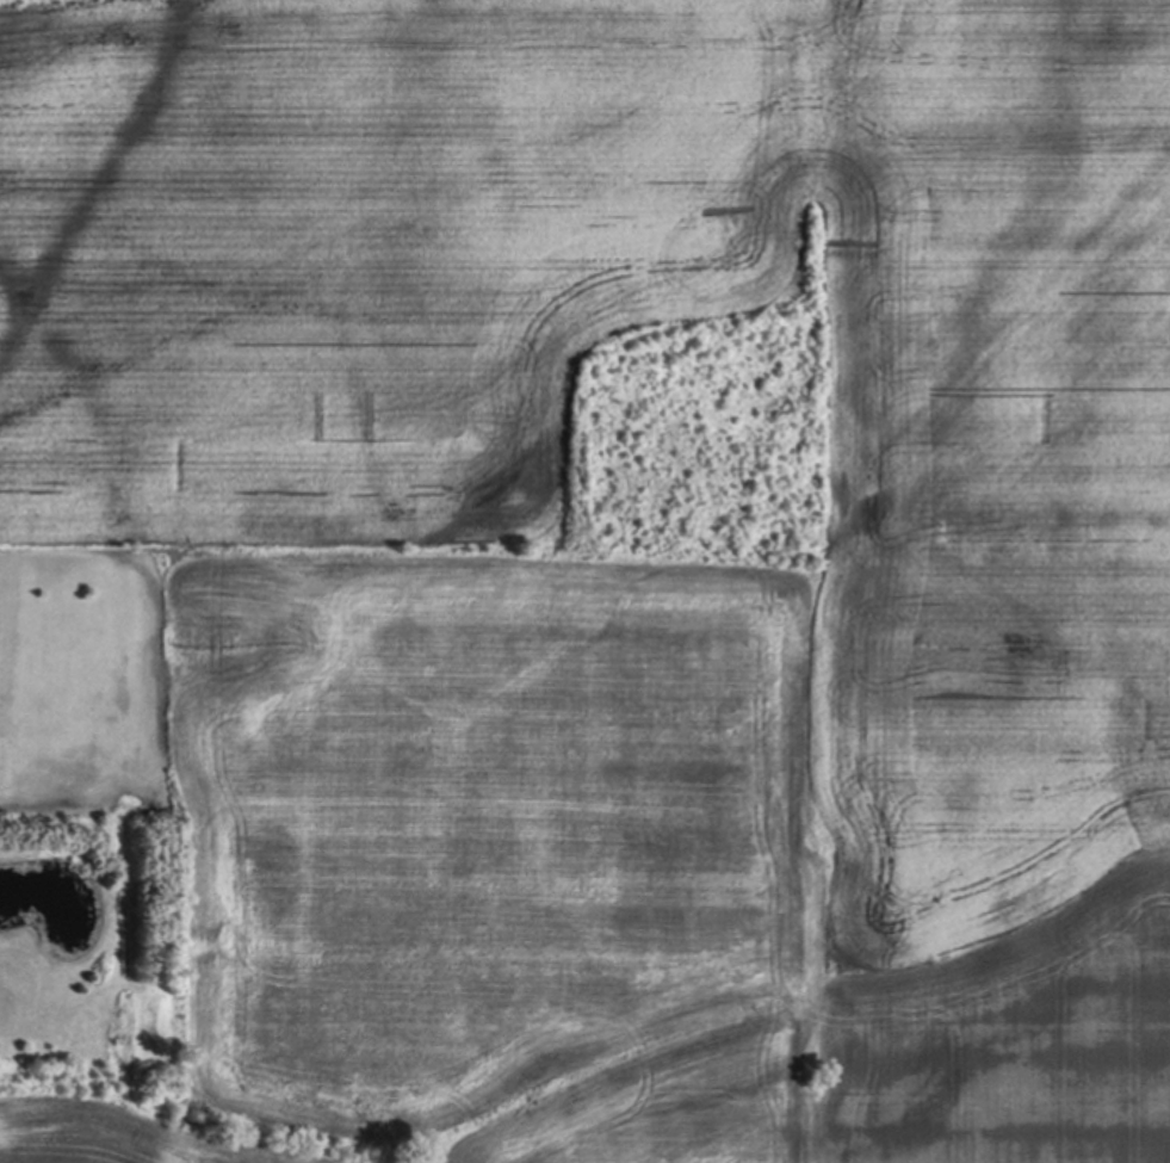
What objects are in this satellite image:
crop: (620, 564)

